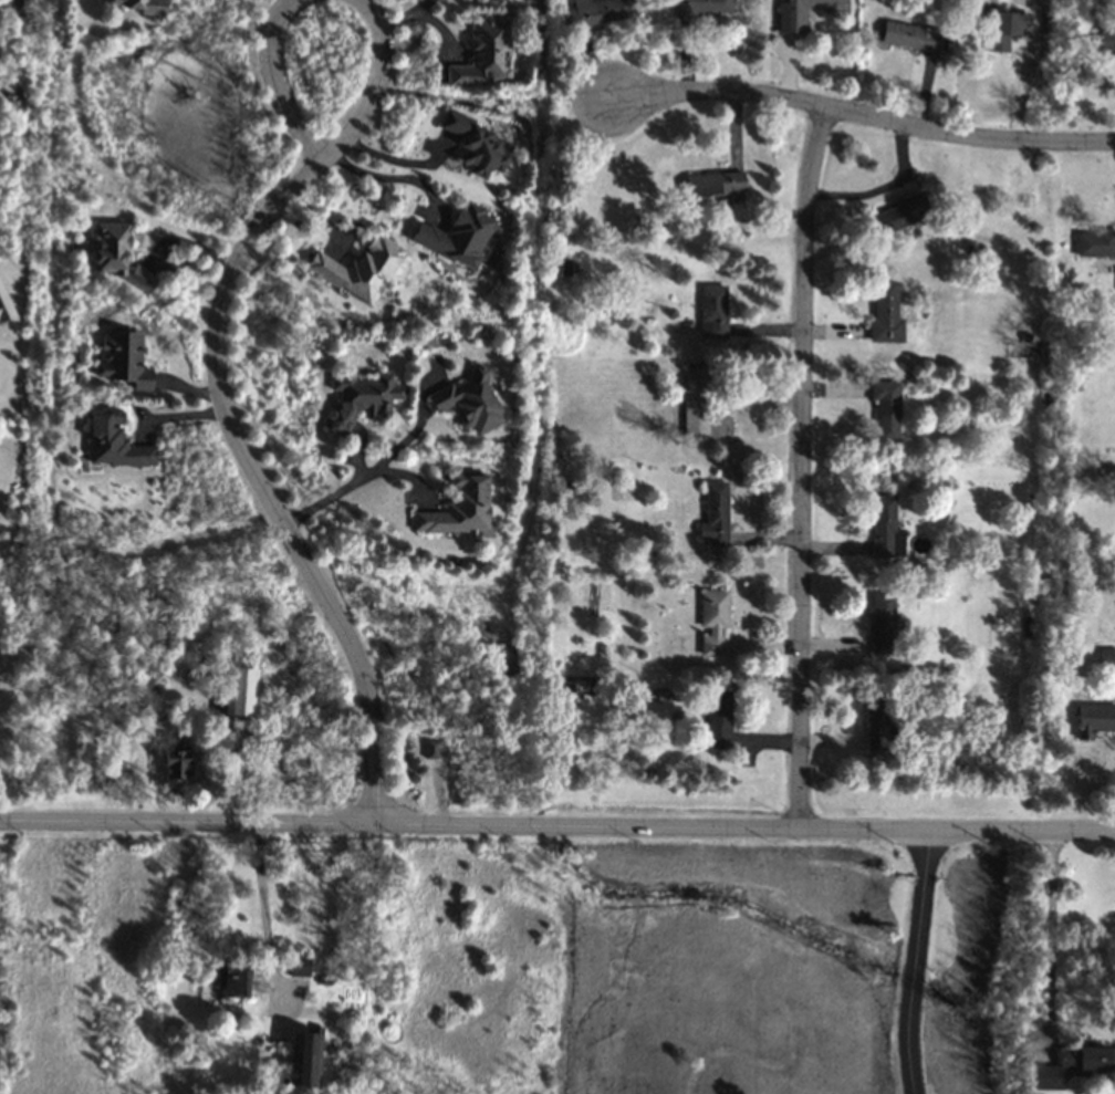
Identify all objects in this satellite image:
building: (142, 6)
building: (700, 8)
building: (597, 11)
building: (801, 12)
building: (1007, 28)
building: (910, 35)
building: (1106, 40)
building: (483, 52)
road: (498, 98)
road: (865, 114)
building: (473, 144)
road: (326, 147)
road: (388, 177)
building: (716, 184)
road: (880, 188)
building: (902, 212)
building: (456, 235)
building: (1094, 242)
building: (116, 253)
building: (358, 268)
building: (4, 303)
building: (712, 308)
building: (885, 313)
building: (122, 358)
building: (359, 398)
building: (468, 400)
building: (885, 407)
building: (113, 441)
road: (801, 462)
road: (252, 477)
road: (323, 499)
building: (457, 506)
building: (713, 515)
building: (885, 527)
building: (711, 618)
building: (884, 625)
building: (1106, 657)
building: (716, 719)
building: (1094, 719)
building: (429, 748)
building: (175, 757)
road: (557, 821)
road: (263, 913)
road: (1049, 932)
road: (915, 959)
building: (298, 966)
building: (231, 979)
building: (322, 980)
building: (304, 1057)
building: (1073, 1065)

